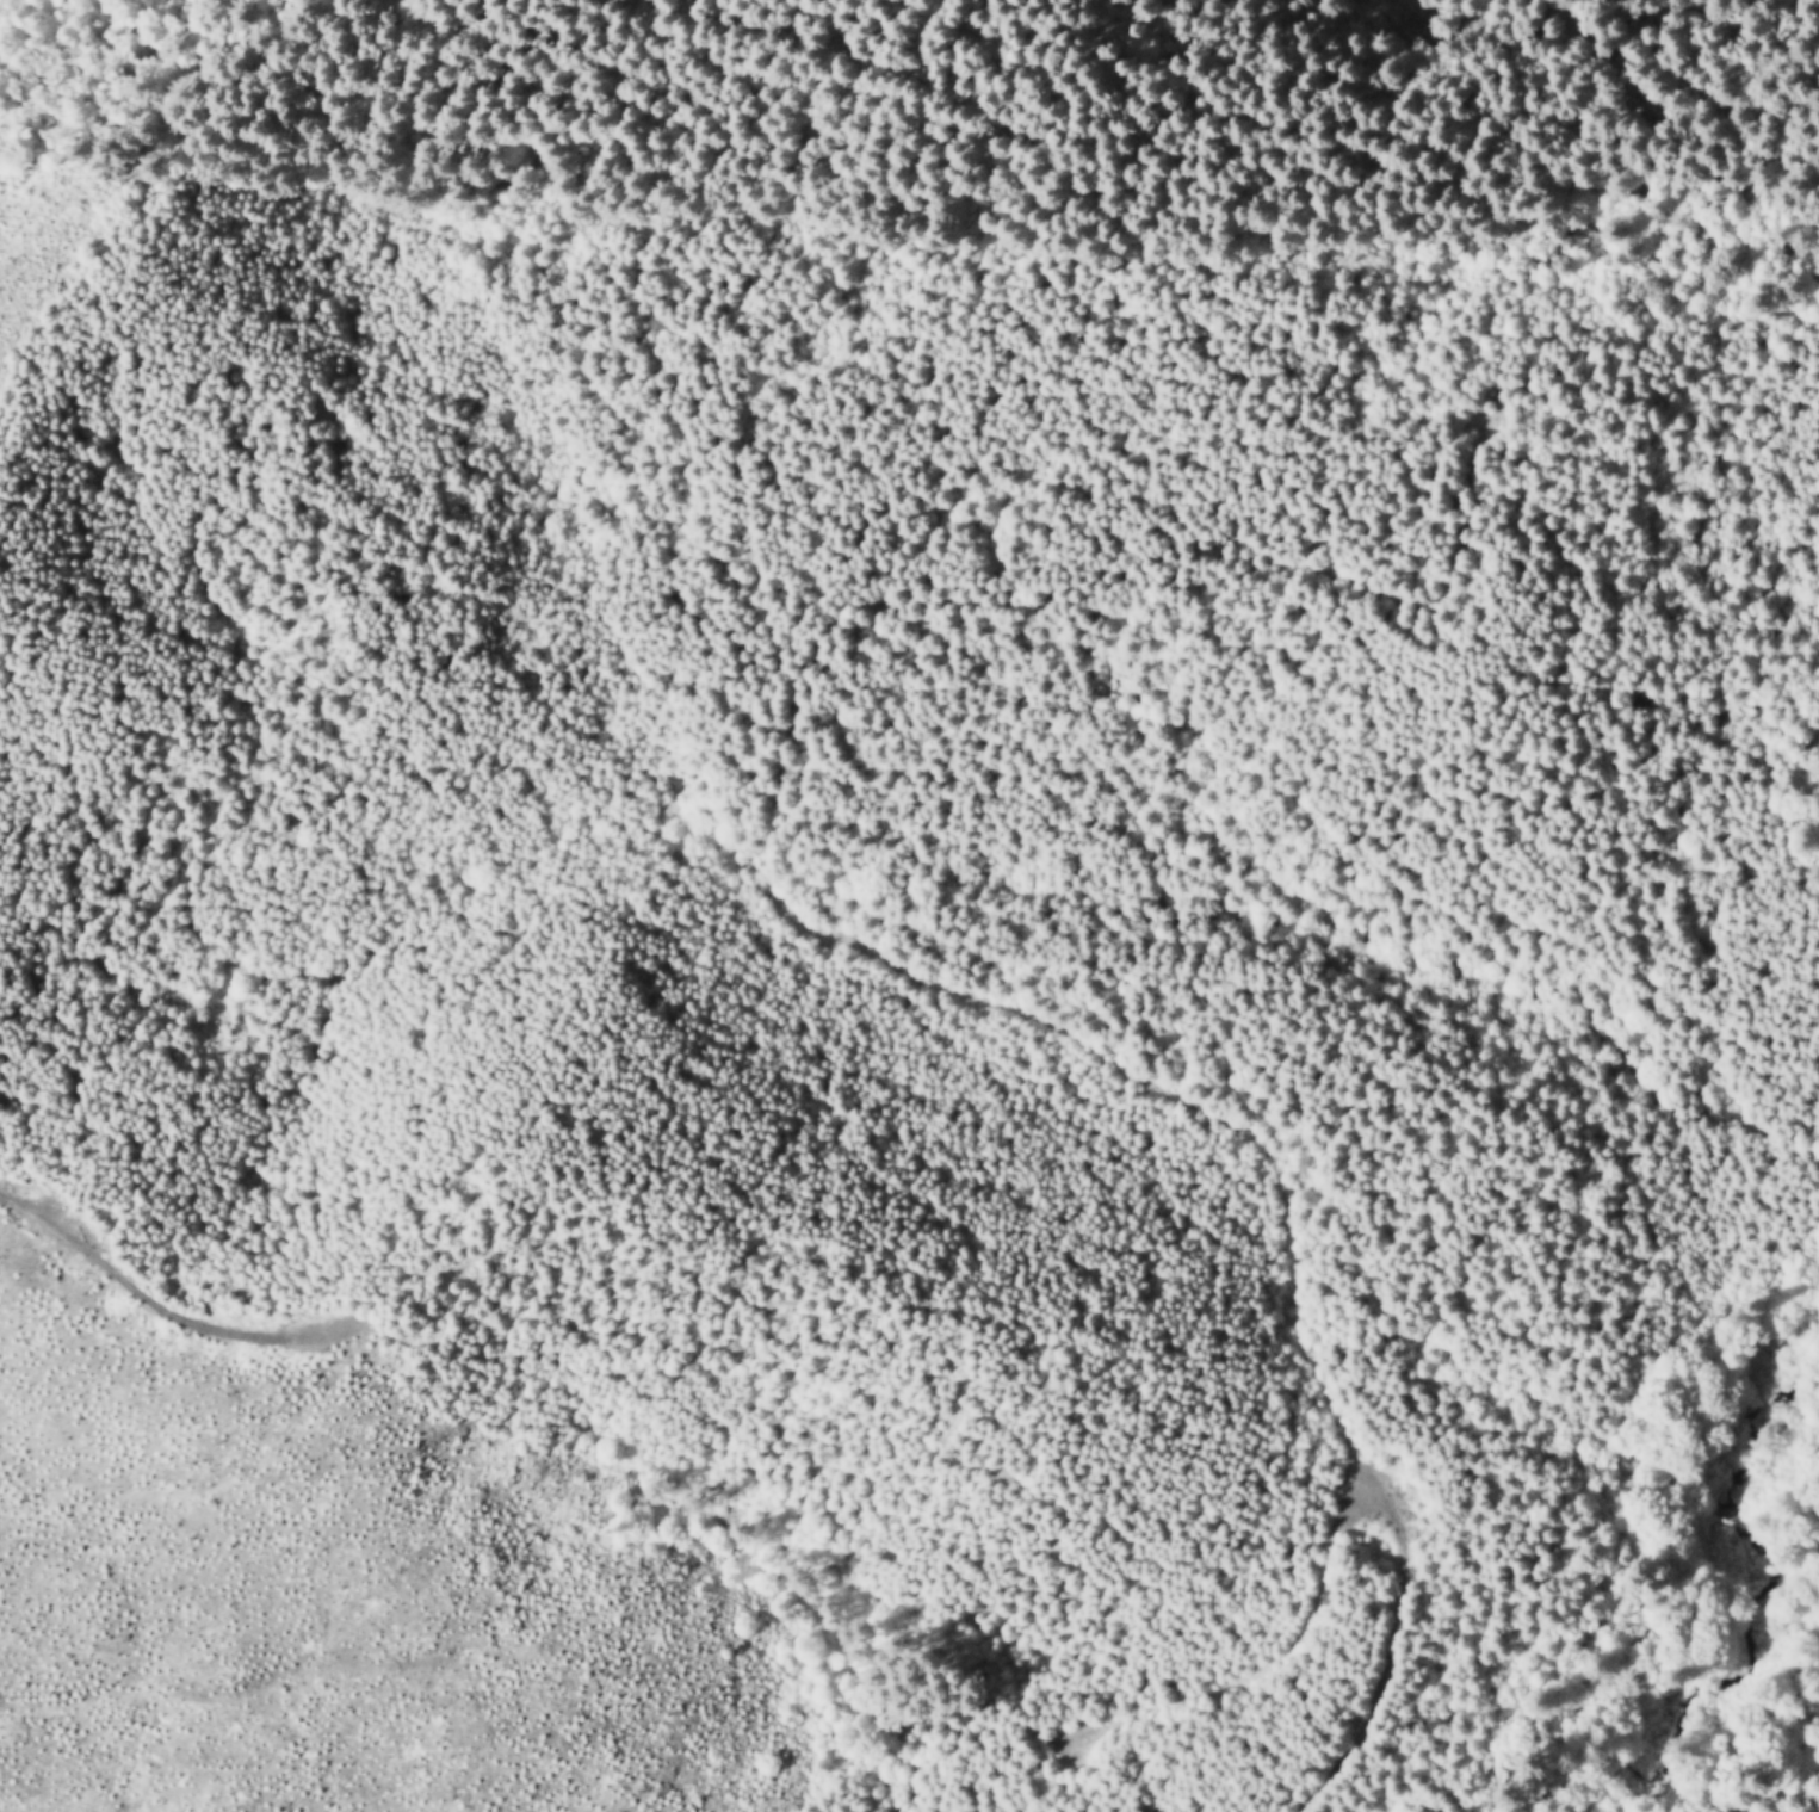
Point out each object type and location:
road: (1097, 1053)
road: (1335, 1521)
road: (1765, 1791)

